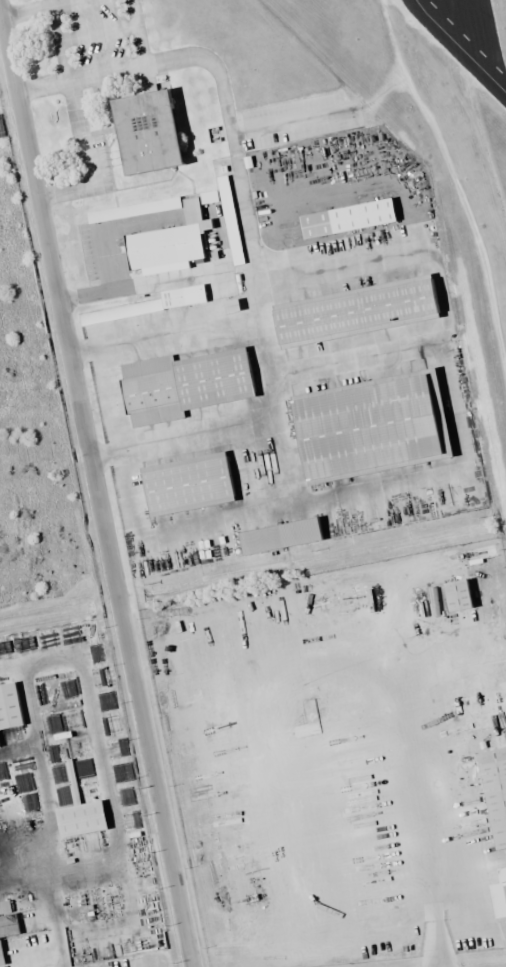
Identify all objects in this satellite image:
airport taxiway: (460, 46)
building: (141, 131)
building: (115, 213)
building: (344, 218)
building: (233, 239)
building: (166, 240)
building: (354, 311)
building: (182, 384)
building: (366, 427)
airport: (304, 444)
building: (184, 483)
road: (95, 488)
building: (277, 535)
building: (8, 707)
road: (99, 754)
building: (493, 793)
building: (75, 812)
road: (16, 874)
building: (504, 892)
road: (57, 925)

